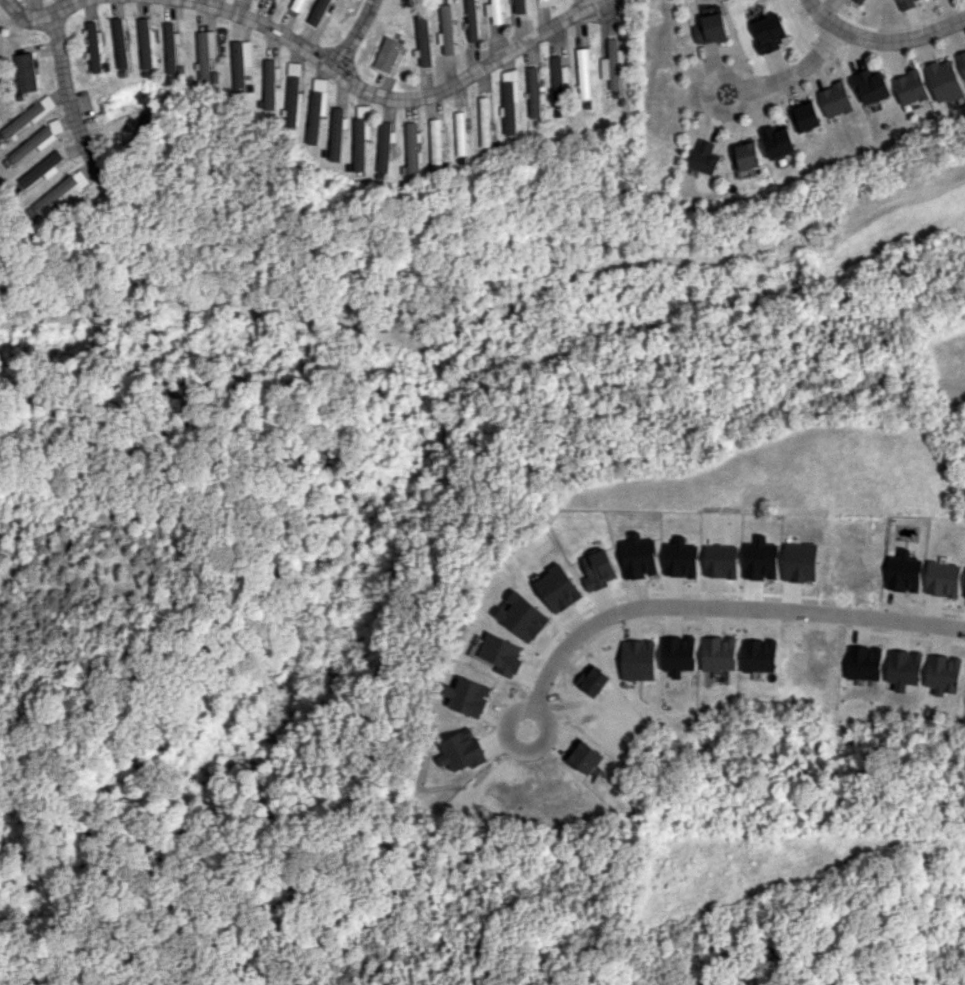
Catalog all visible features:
building: (275, 0)
building: (859, 1)
building: (907, 4)
road: (75, 5)
building: (298, 5)
building: (517, 6)
building: (493, 11)
road: (24, 14)
building: (470, 20)
building: (446, 29)
building: (710, 29)
building: (768, 32)
road: (353, 34)
road: (883, 39)
building: (422, 40)
building: (119, 43)
building: (144, 43)
building: (94, 46)
building: (170, 47)
building: (204, 53)
building: (387, 54)
building: (961, 60)
building: (240, 64)
building: (610, 64)
building: (583, 71)
building: (25, 72)
road: (792, 73)
building: (556, 80)
building: (945, 82)
building: (268, 84)
building: (871, 85)
building: (910, 87)
building: (532, 92)
road: (69, 95)
building: (291, 95)
building: (835, 100)
building: (509, 101)
road: (392, 102)
building: (316, 107)
building: (28, 116)
building: (805, 116)
building: (484, 121)
building: (336, 133)
building: (460, 133)
building: (360, 140)
building: (778, 140)
building: (437, 143)
building: (32, 145)
building: (384, 146)
building: (412, 147)
building: (745, 155)
building: (704, 157)
building: (42, 169)
building: (61, 192)
building: (637, 556)
building: (679, 558)
building: (719, 561)
building: (799, 562)
building: (596, 570)
building: (903, 572)
building: (943, 579)
building: (556, 588)
building: (964, 593)
road: (713, 608)
building: (520, 616)
building: (718, 653)
building: (677, 654)
building: (864, 662)
building: (903, 668)
building: (459, 750)

